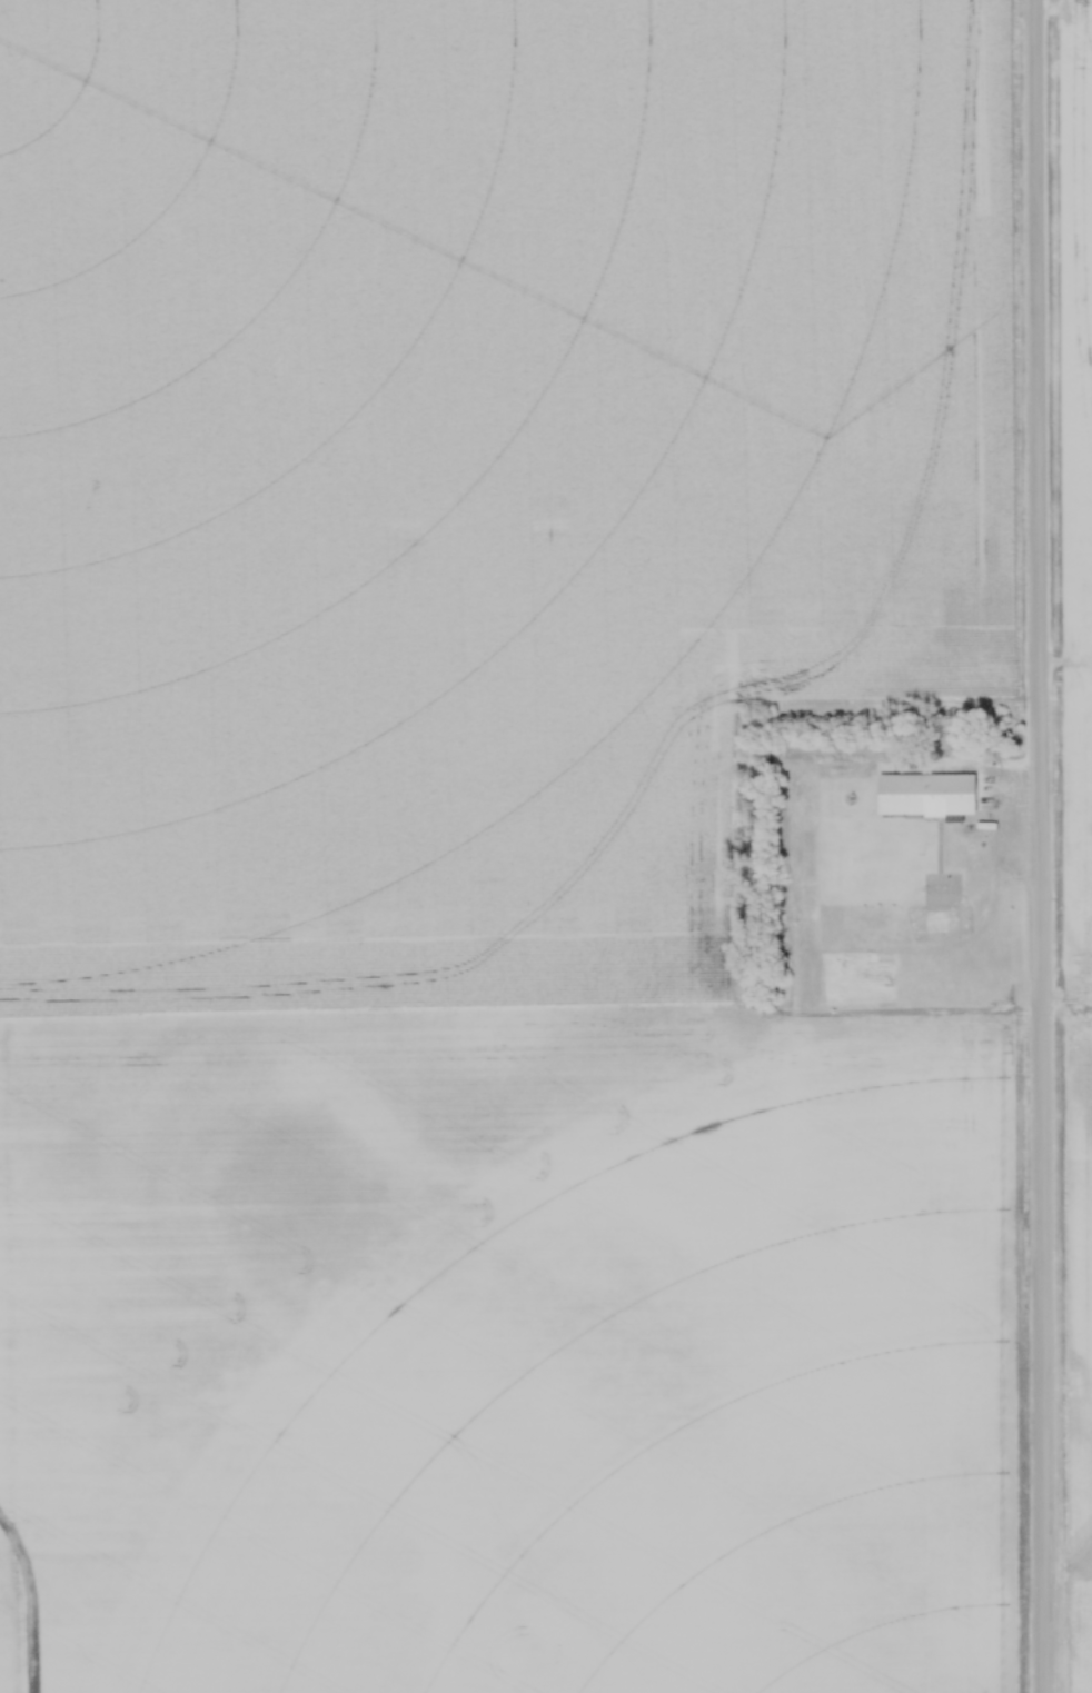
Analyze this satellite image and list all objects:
building: (929, 791)
crop: (1076, 806)
road: (1040, 846)
crop: (484, 847)

